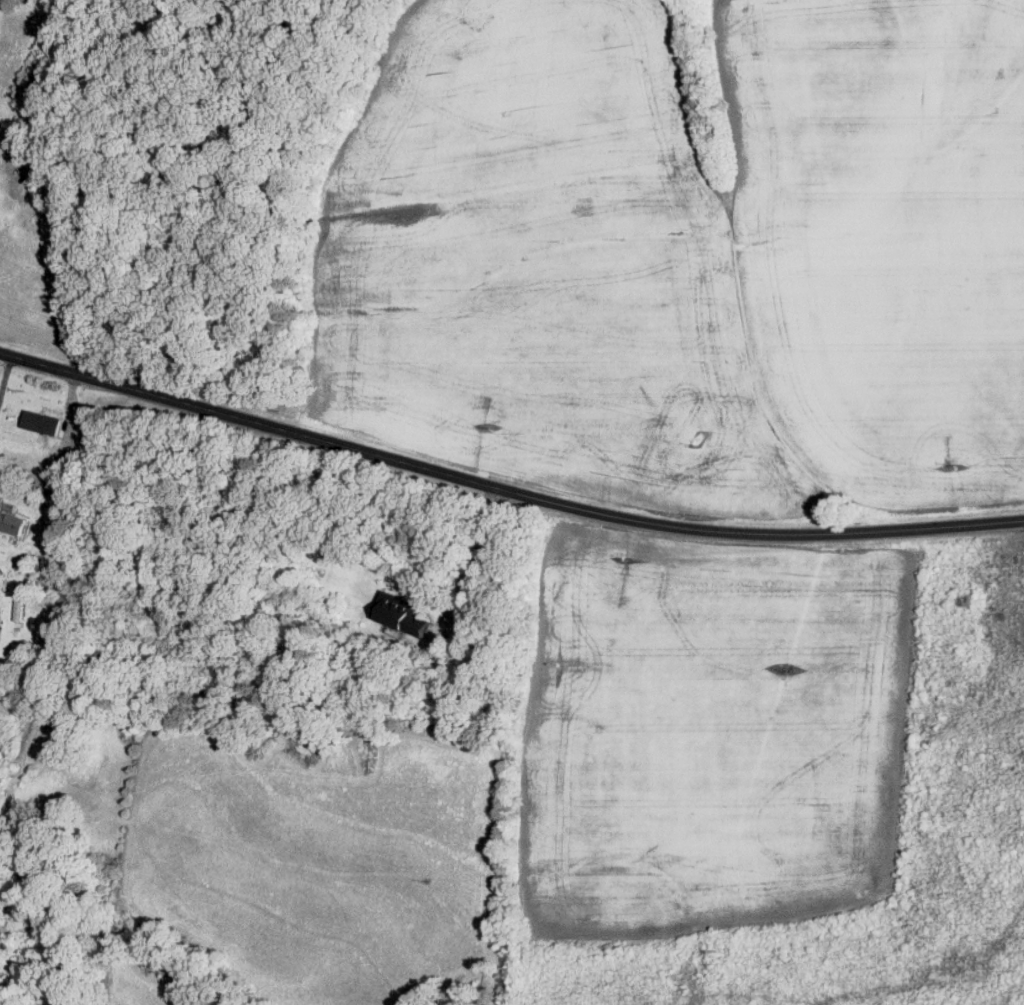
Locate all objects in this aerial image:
road: (6, 374)
building: (48, 422)
road: (70, 422)
building: (44, 440)
road: (505, 486)
building: (12, 520)
road: (480, 554)
building: (21, 600)
building: (405, 612)

